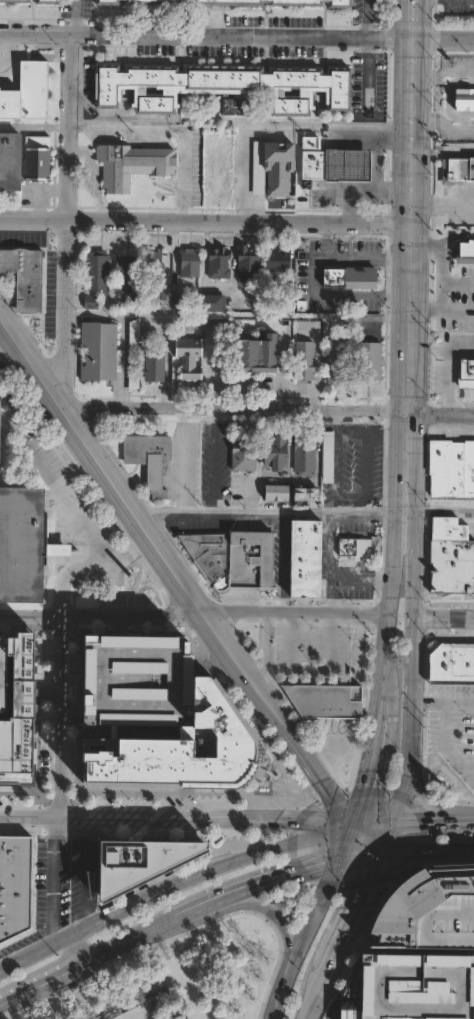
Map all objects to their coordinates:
building: (15, 1)
building: (48, 1)
building: (108, 2)
building: (248, 2)
road: (74, 15)
road: (409, 16)
road: (365, 17)
road: (204, 32)
road: (441, 36)
building: (224, 86)
building: (28, 93)
building: (469, 99)
building: (235, 106)
road: (281, 125)
road: (34, 126)
road: (125, 127)
road: (410, 129)
road: (442, 153)
building: (38, 158)
building: (9, 161)
building: (132, 165)
building: (338, 165)
building: (280, 168)
building: (457, 168)
road: (182, 175)
road: (92, 176)
road: (442, 205)
road: (65, 206)
road: (206, 220)
road: (442, 241)
road: (348, 258)
building: (279, 260)
building: (191, 263)
building: (220, 263)
building: (248, 264)
building: (154, 265)
building: (128, 269)
building: (98, 270)
road: (440, 276)
building: (25, 277)
building: (349, 277)
road: (411, 286)
building: (457, 288)
building: (289, 290)
road: (348, 292)
building: (92, 301)
building: (133, 302)
building: (215, 303)
road: (442, 310)
road: (114, 317)
building: (133, 344)
building: (99, 351)
building: (249, 354)
road: (34, 356)
building: (306, 360)
building: (369, 360)
building: (185, 364)
building: (155, 365)
building: (338, 367)
road: (446, 367)
road: (21, 368)
road: (410, 382)
road: (240, 410)
road: (442, 415)
road: (352, 431)
building: (272, 452)
building: (244, 455)
building: (305, 456)
road: (365, 456)
road: (180, 458)
building: (326, 458)
building: (150, 459)
road: (214, 459)
road: (255, 460)
road: (289, 460)
road: (420, 462)
building: (452, 469)
road: (335, 473)
building: (277, 492)
building: (312, 496)
road: (265, 510)
road: (406, 511)
road: (446, 512)
road: (393, 514)
road: (76, 515)
building: (21, 544)
building: (354, 547)
building: (208, 552)
building: (452, 556)
building: (307, 558)
building: (249, 562)
road: (282, 562)
road: (417, 565)
road: (31, 615)
road: (133, 615)
road: (295, 615)
road: (207, 618)
road: (445, 619)
road: (262, 648)
road: (384, 660)
building: (453, 664)
road: (311, 671)
building: (1, 673)
parking garage: (1, 673)
building: (135, 679)
parking garage: (135, 679)
building: (325, 701)
road: (443, 705)
building: (16, 714)
road: (61, 716)
road: (413, 724)
building: (174, 749)
road: (445, 750)
road: (370, 765)
road: (434, 807)
road: (175, 818)
road: (431, 825)
road: (370, 826)
traffic signals: (390, 826)
traffic signals: (351, 827)
road: (386, 840)
road: (427, 851)
traffic signals: (382, 854)
traffic signals: (343, 858)
building: (135, 860)
road: (214, 868)
road: (84, 873)
road: (270, 878)
road: (51, 881)
building: (15, 886)
road: (368, 886)
road: (253, 906)
building: (427, 914)
road: (312, 923)
road: (121, 944)
road: (82, 947)
road: (42, 949)
road: (335, 958)
park: (171, 977)
road: (39, 986)
building: (407, 988)
road: (312, 1009)

